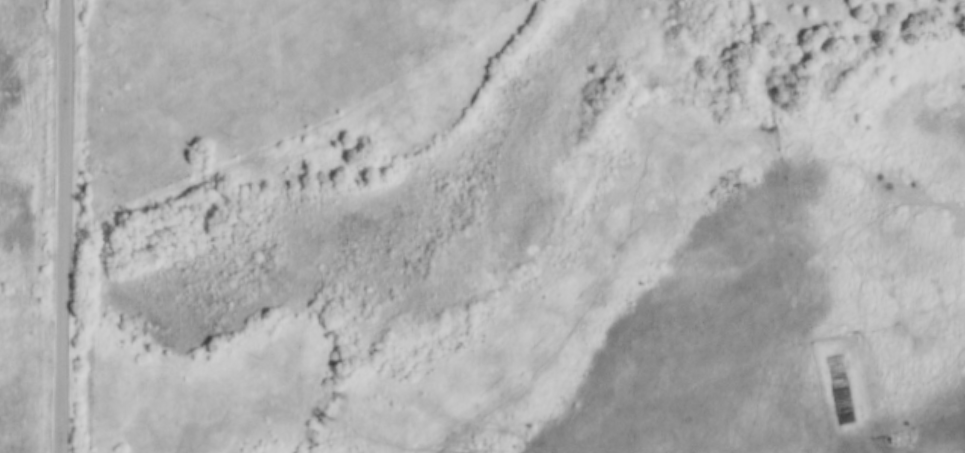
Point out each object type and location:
road: (63, 226)

